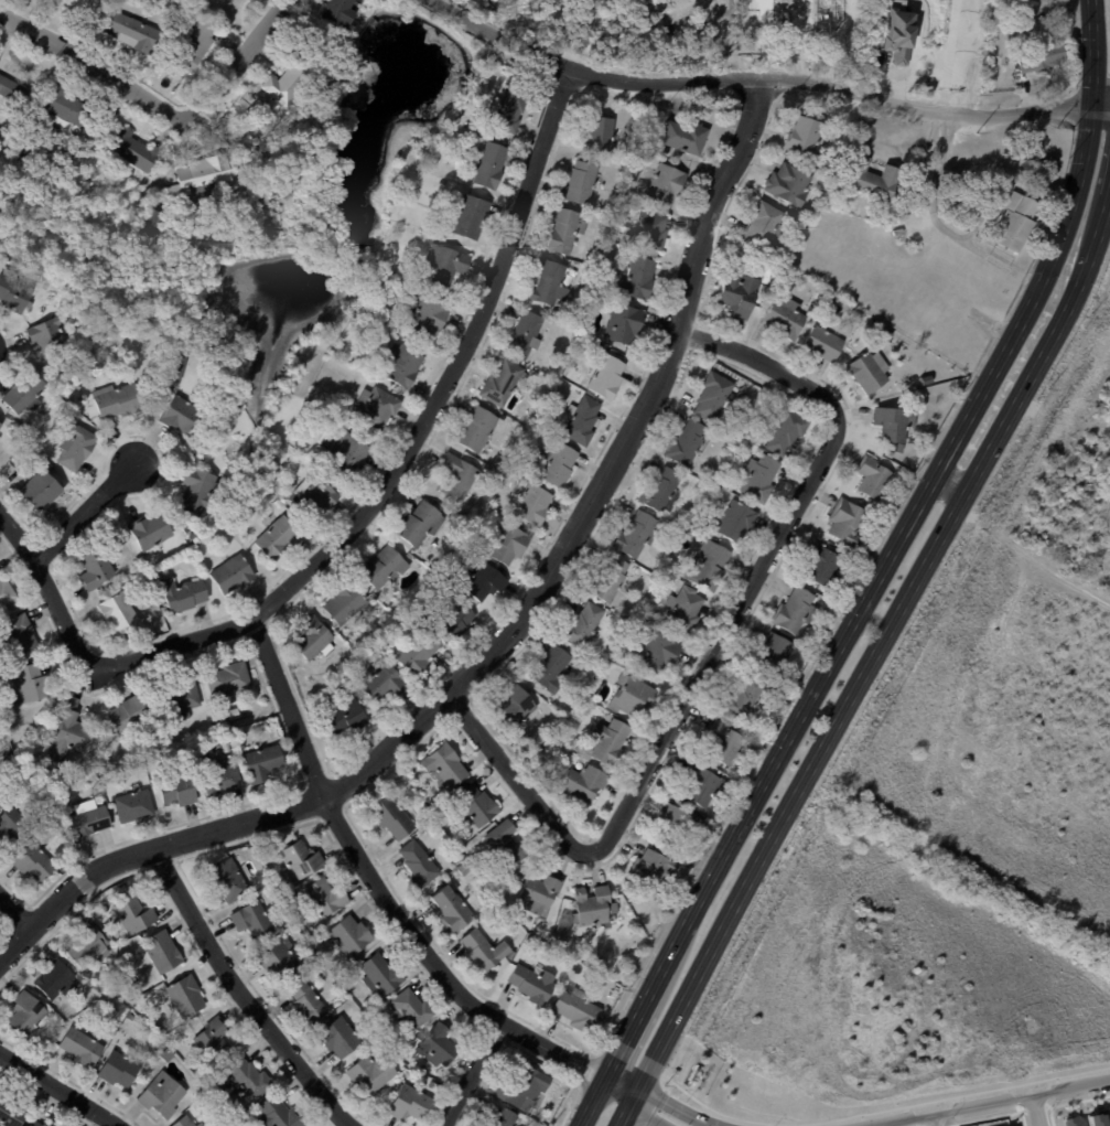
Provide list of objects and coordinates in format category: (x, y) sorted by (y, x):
building: (84, 6)
building: (340, 12)
building: (134, 31)
building: (196, 43)
road: (1092, 53)
building: (1043, 58)
building: (1014, 62)
road: (753, 77)
building: (293, 81)
building: (11, 90)
building: (247, 101)
building: (64, 106)
road: (157, 107)
building: (511, 108)
road: (1100, 108)
building: (619, 109)
building: (602, 135)
building: (686, 137)
building: (807, 138)
building: (26, 150)
building: (133, 150)
building: (491, 164)
building: (202, 178)
building: (875, 179)
building: (584, 182)
building: (667, 183)
building: (790, 184)
road: (935, 185)
road: (1109, 193)
building: (797, 212)
building: (470, 217)
building: (1019, 222)
building: (154, 223)
building: (766, 225)
building: (654, 229)
building: (568, 230)
building: (446, 264)
building: (639, 279)
building: (552, 282)
building: (422, 290)
building: (14, 291)
building: (741, 293)
building: (30, 305)
building: (558, 312)
building: (810, 314)
building: (858, 315)
building: (787, 317)
building: (429, 318)
building: (624, 323)
building: (875, 325)
building: (527, 334)
building: (888, 334)
building: (49, 336)
building: (79, 342)
building: (825, 343)
building: (341, 350)
building: (175, 364)
building: (402, 365)
building: (534, 372)
building: (867, 372)
building: (607, 377)
building: (503, 383)
building: (25, 393)
building: (714, 396)
building: (118, 401)
building: (377, 407)
building: (182, 416)
building: (583, 420)
building: (0, 425)
building: (895, 425)
building: (477, 429)
building: (735, 429)
building: (747, 429)
building: (788, 432)
building: (1, 437)
building: (914, 440)
building: (688, 443)
building: (14, 444)
building: (76, 447)
building: (348, 453)
building: (892, 454)
building: (557, 464)
building: (460, 476)
building: (762, 478)
building: (877, 478)
road: (952, 482)
building: (716, 486)
building: (41, 491)
building: (201, 491)
building: (664, 491)
building: (479, 494)
building: (316, 495)
building: (532, 503)
building: (279, 504)
building: (456, 504)
road: (88, 513)
road: (356, 522)
building: (739, 522)
building: (422, 524)
building: (850, 524)
building: (151, 532)
building: (692, 533)
building: (638, 535)
building: (195, 537)
building: (278, 538)
building: (510, 544)
building: (710, 566)
building: (826, 566)
building: (385, 567)
building: (96, 570)
building: (233, 575)
building: (611, 580)
building: (485, 581)
building: (177, 582)
building: (143, 585)
building: (6, 592)
building: (182, 596)
building: (346, 604)
building: (686, 609)
building: (797, 611)
building: (121, 612)
building: (452, 622)
road: (854, 624)
building: (585, 625)
building: (394, 631)
road: (508, 633)
building: (19, 635)
building: (315, 639)
building: (659, 651)
road: (711, 652)
building: (418, 653)
building: (772, 654)
building: (591, 658)
road: (871, 665)
building: (552, 668)
building: (229, 682)
building: (385, 684)
building: (30, 685)
building: (777, 691)
building: (633, 697)
building: (181, 700)
building: (747, 701)
building: (519, 708)
building: (235, 714)
building: (130, 716)
building: (216, 716)
building: (569, 716)
building: (346, 718)
building: (71, 731)
building: (111, 737)
building: (611, 742)
building: (725, 743)
building: (579, 748)
building: (95, 758)
building: (262, 763)
building: (446, 766)
building: (220, 779)
building: (585, 783)
building: (704, 789)
building: (179, 791)
building: (3, 793)
building: (134, 806)
building: (476, 806)
building: (394, 818)
building: (88, 821)
building: (13, 824)
building: (679, 826)
building: (507, 845)
building: (468, 848)
building: (302, 859)
building: (34, 862)
building: (420, 865)
building: (466, 870)
building: (654, 870)
road: (370, 873)
building: (228, 879)
building: (540, 894)
building: (326, 898)
building: (293, 901)
building: (667, 903)
road: (14, 907)
building: (594, 907)
building: (452, 910)
building: (134, 914)
building: (254, 920)
building: (352, 935)
building: (529, 941)
building: (89, 948)
building: (485, 951)
building: (162, 952)
building: (282, 959)
building: (321, 969)
building: (382, 974)
building: (121, 976)
building: (57, 980)
building: (534, 985)
building: (103, 987)
building: (111, 995)
building: (616, 995)
building: (186, 996)
road: (243, 996)
building: (308, 1002)
building: (412, 1008)
building: (111, 1010)
building: (578, 1010)
building: (26, 1012)
building: (130, 1017)
building: (158, 1028)
building: (341, 1037)
building: (421, 1037)
building: (214, 1040)
building: (438, 1043)
building: (82, 1048)
building: (165, 1053)
road: (593, 1061)
building: (119, 1069)
building: (373, 1072)
building: (405, 1073)
road: (470, 1074)
building: (247, 1077)
road: (582, 1079)
building: (202, 1086)
building: (522, 1086)
road: (618, 1087)
road: (60, 1090)
building: (560, 1090)
building: (161, 1094)
building: (410, 1103)
road: (989, 1103)
building: (552, 1106)
road: (671, 1107)
building: (1109, 1107)
road: (1035, 1111)
building: (12, 1112)
road: (645, 1112)
building: (280, 1113)
building: (506, 1117)
road: (933, 1120)
building: (1075, 1120)
building: (1099, 1120)
building: (186, 1122)
building: (35, 1123)
building: (57, 1125)
building: (202, 1125)
building: (488, 1125)

